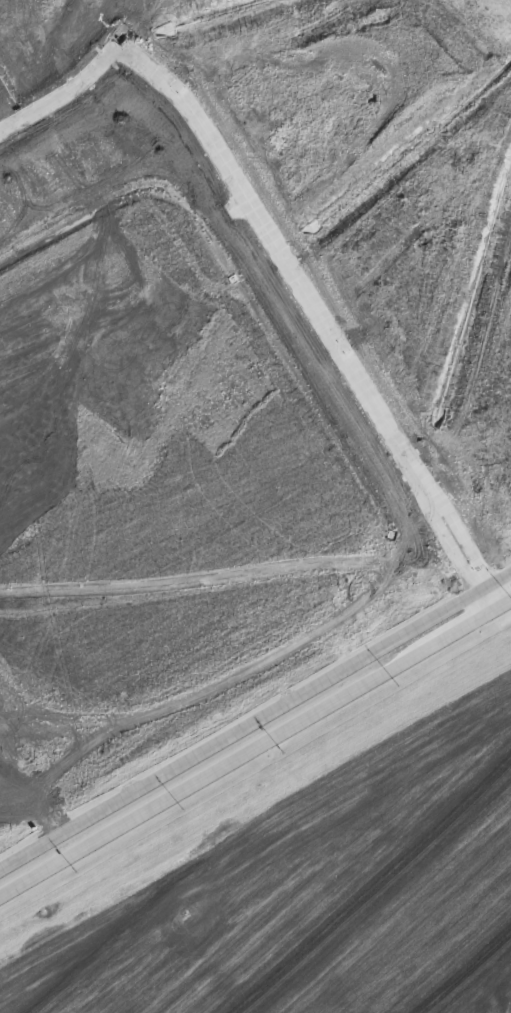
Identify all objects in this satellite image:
road: (246, 181)
road: (466, 526)
road: (450, 536)
road: (255, 721)
road: (255, 748)

